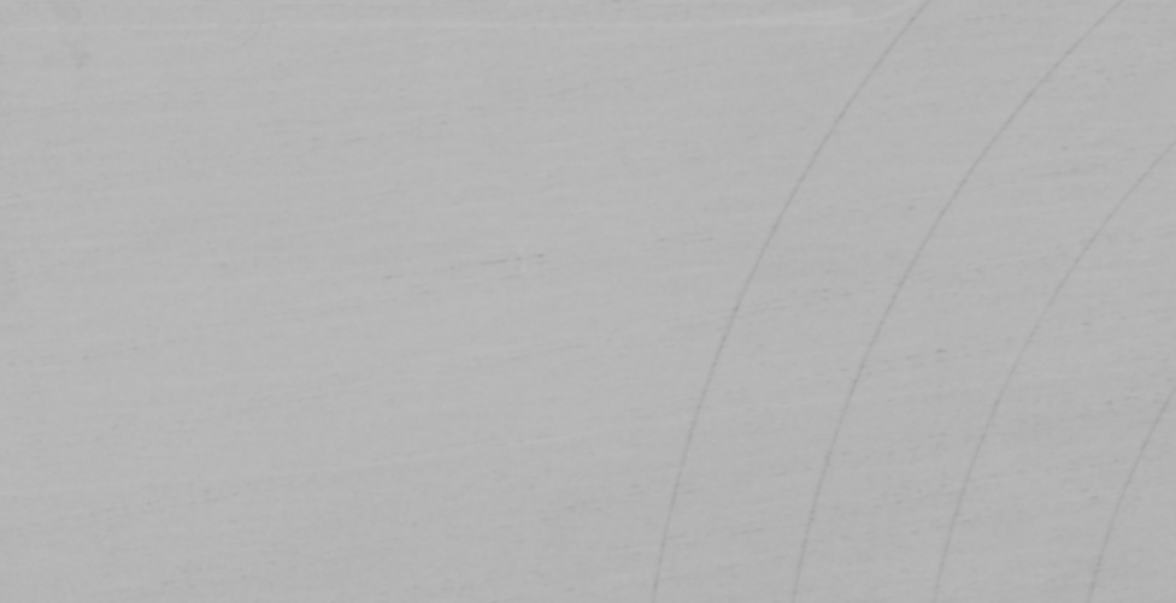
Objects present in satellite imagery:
crop: (588, 301)

